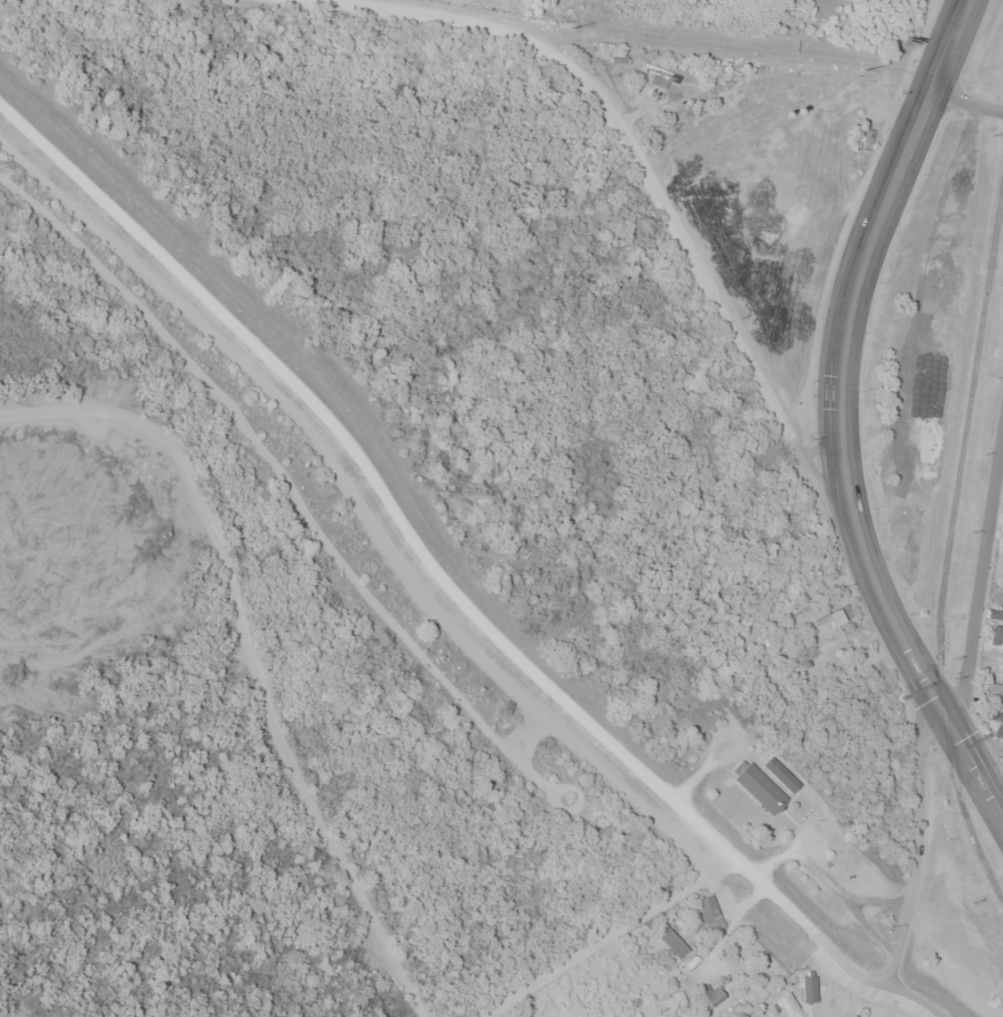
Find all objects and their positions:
building: (660, 76)
building: (757, 91)
road: (968, 101)
road: (646, 170)
road: (877, 234)
railway: (949, 546)
road: (980, 582)
road: (448, 585)
building: (996, 614)
building: (832, 616)
building: (996, 635)
building: (794, 650)
road: (913, 652)
road: (251, 655)
building: (998, 663)
building: (994, 692)
building: (999, 726)
building: (780, 775)
building: (758, 787)
road: (918, 828)
building: (707, 915)
road: (607, 934)
building: (667, 936)
building: (809, 988)
building: (707, 997)
building: (789, 1005)
building: (744, 1009)

